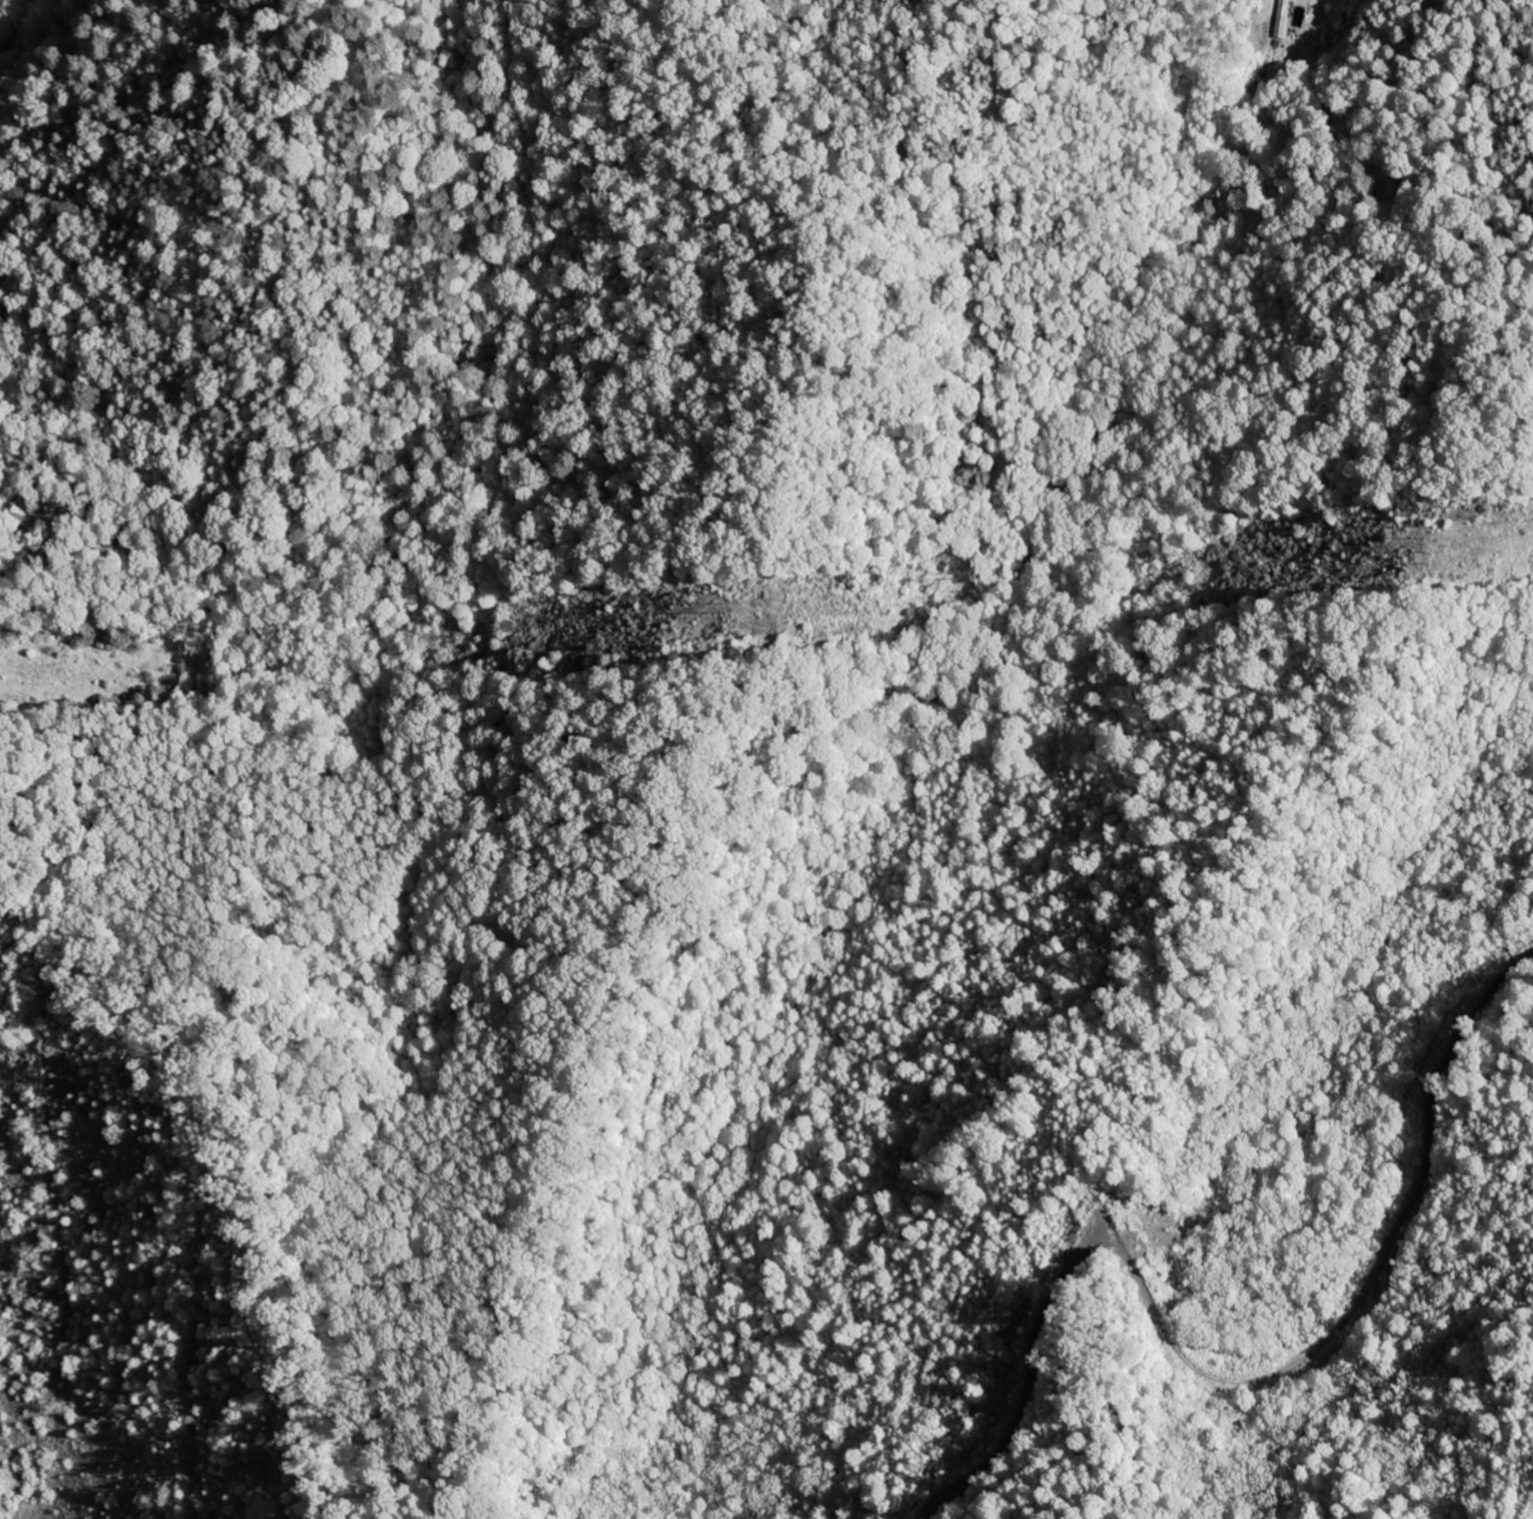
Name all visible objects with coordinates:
building: (1279, 18)

